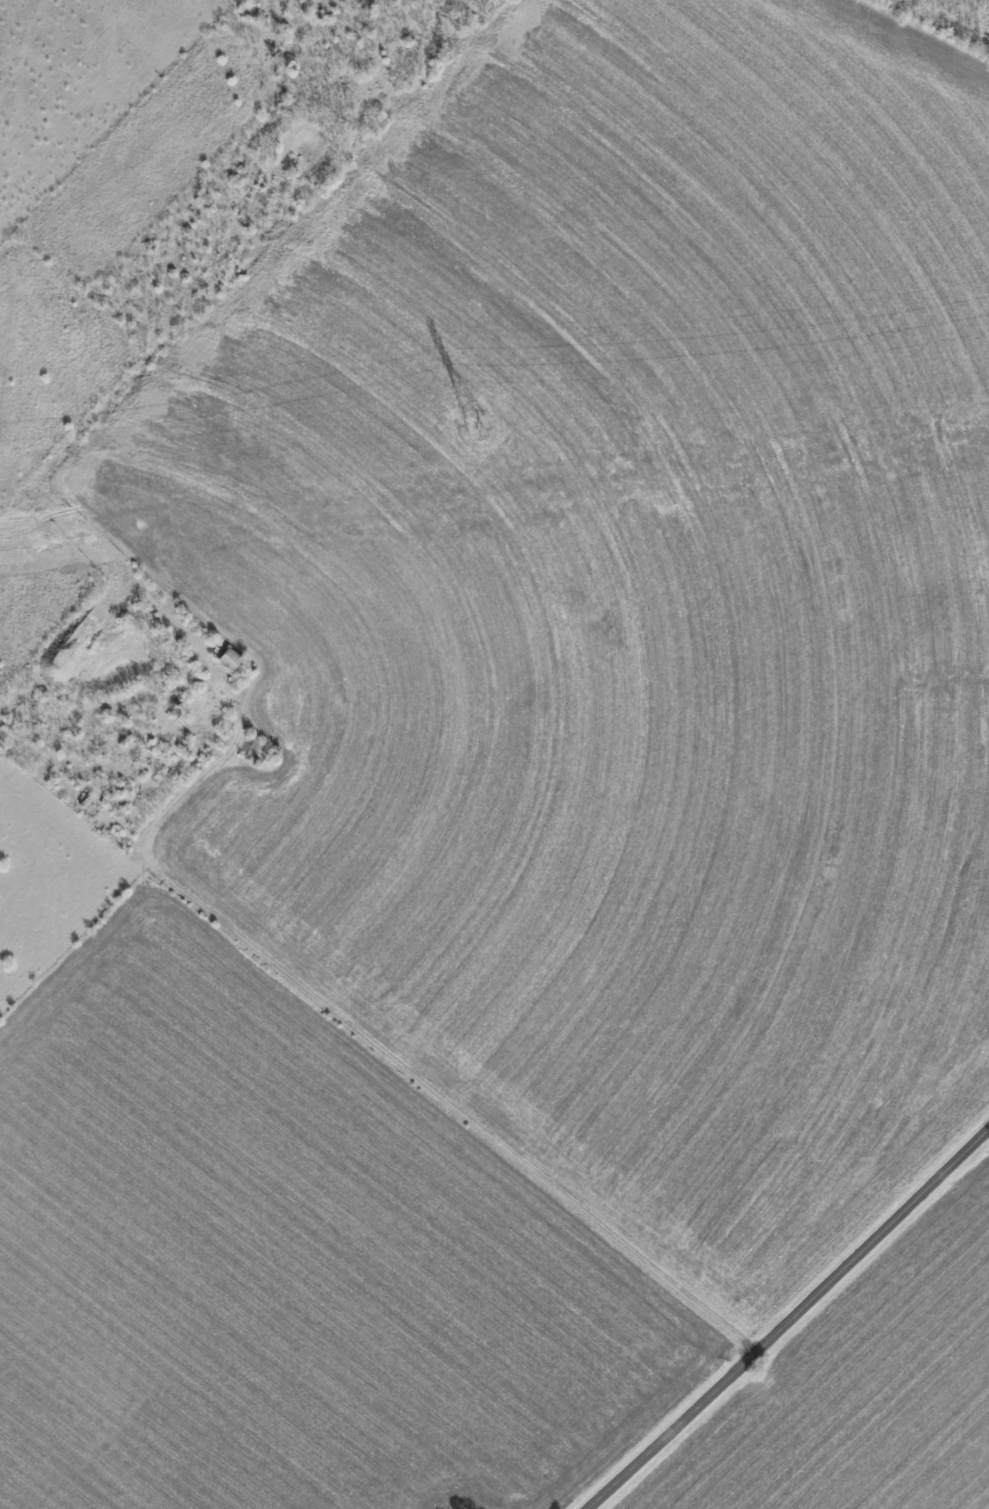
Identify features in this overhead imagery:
power tower: (475, 425)
road: (379, 1059)
road: (790, 1320)

